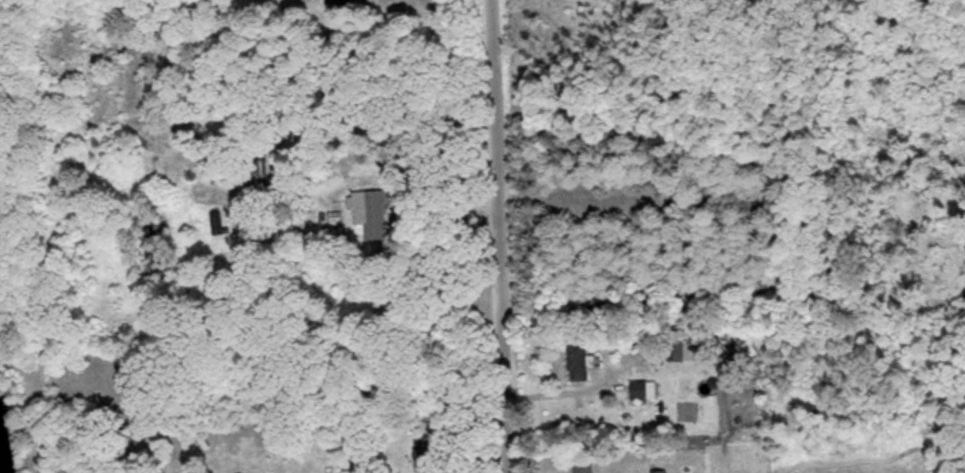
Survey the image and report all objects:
building: (340, 2)
park: (11, 181)
building: (367, 209)
road: (499, 236)
building: (674, 350)
building: (577, 361)
road: (560, 385)
building: (646, 390)
building: (422, 459)
building: (582, 469)

